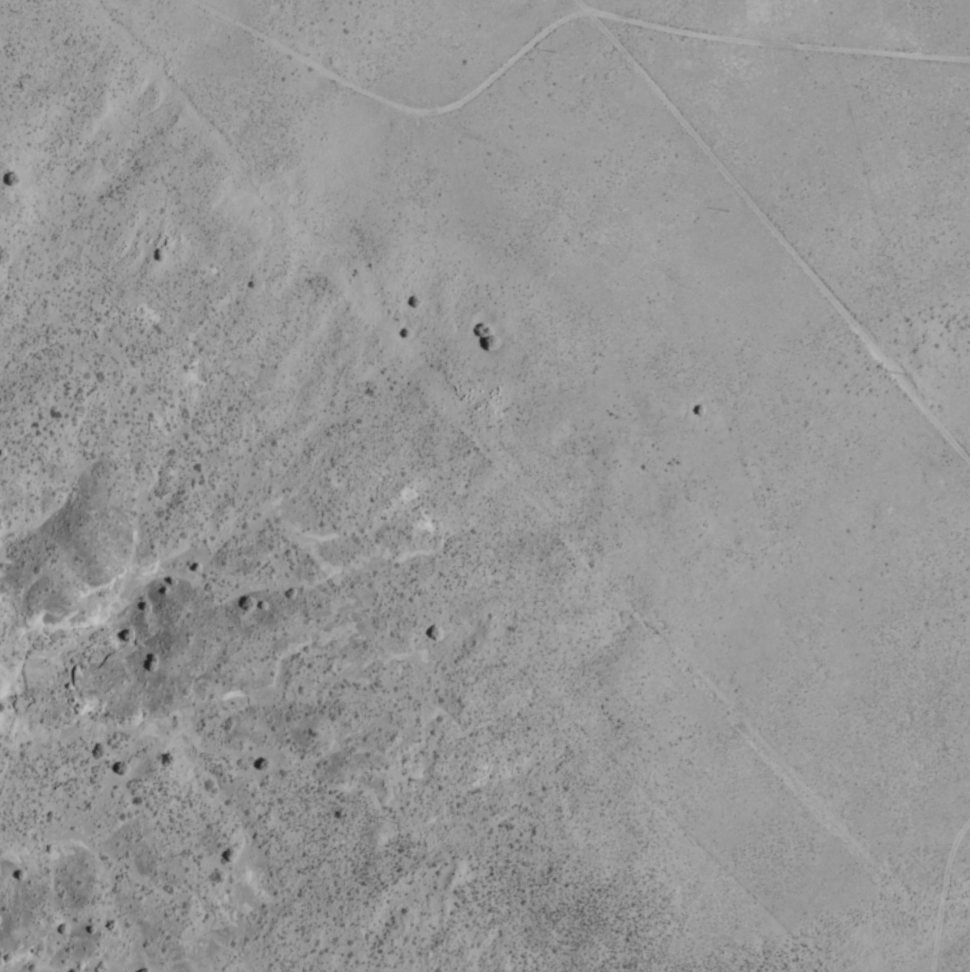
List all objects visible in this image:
road: (753, 262)

